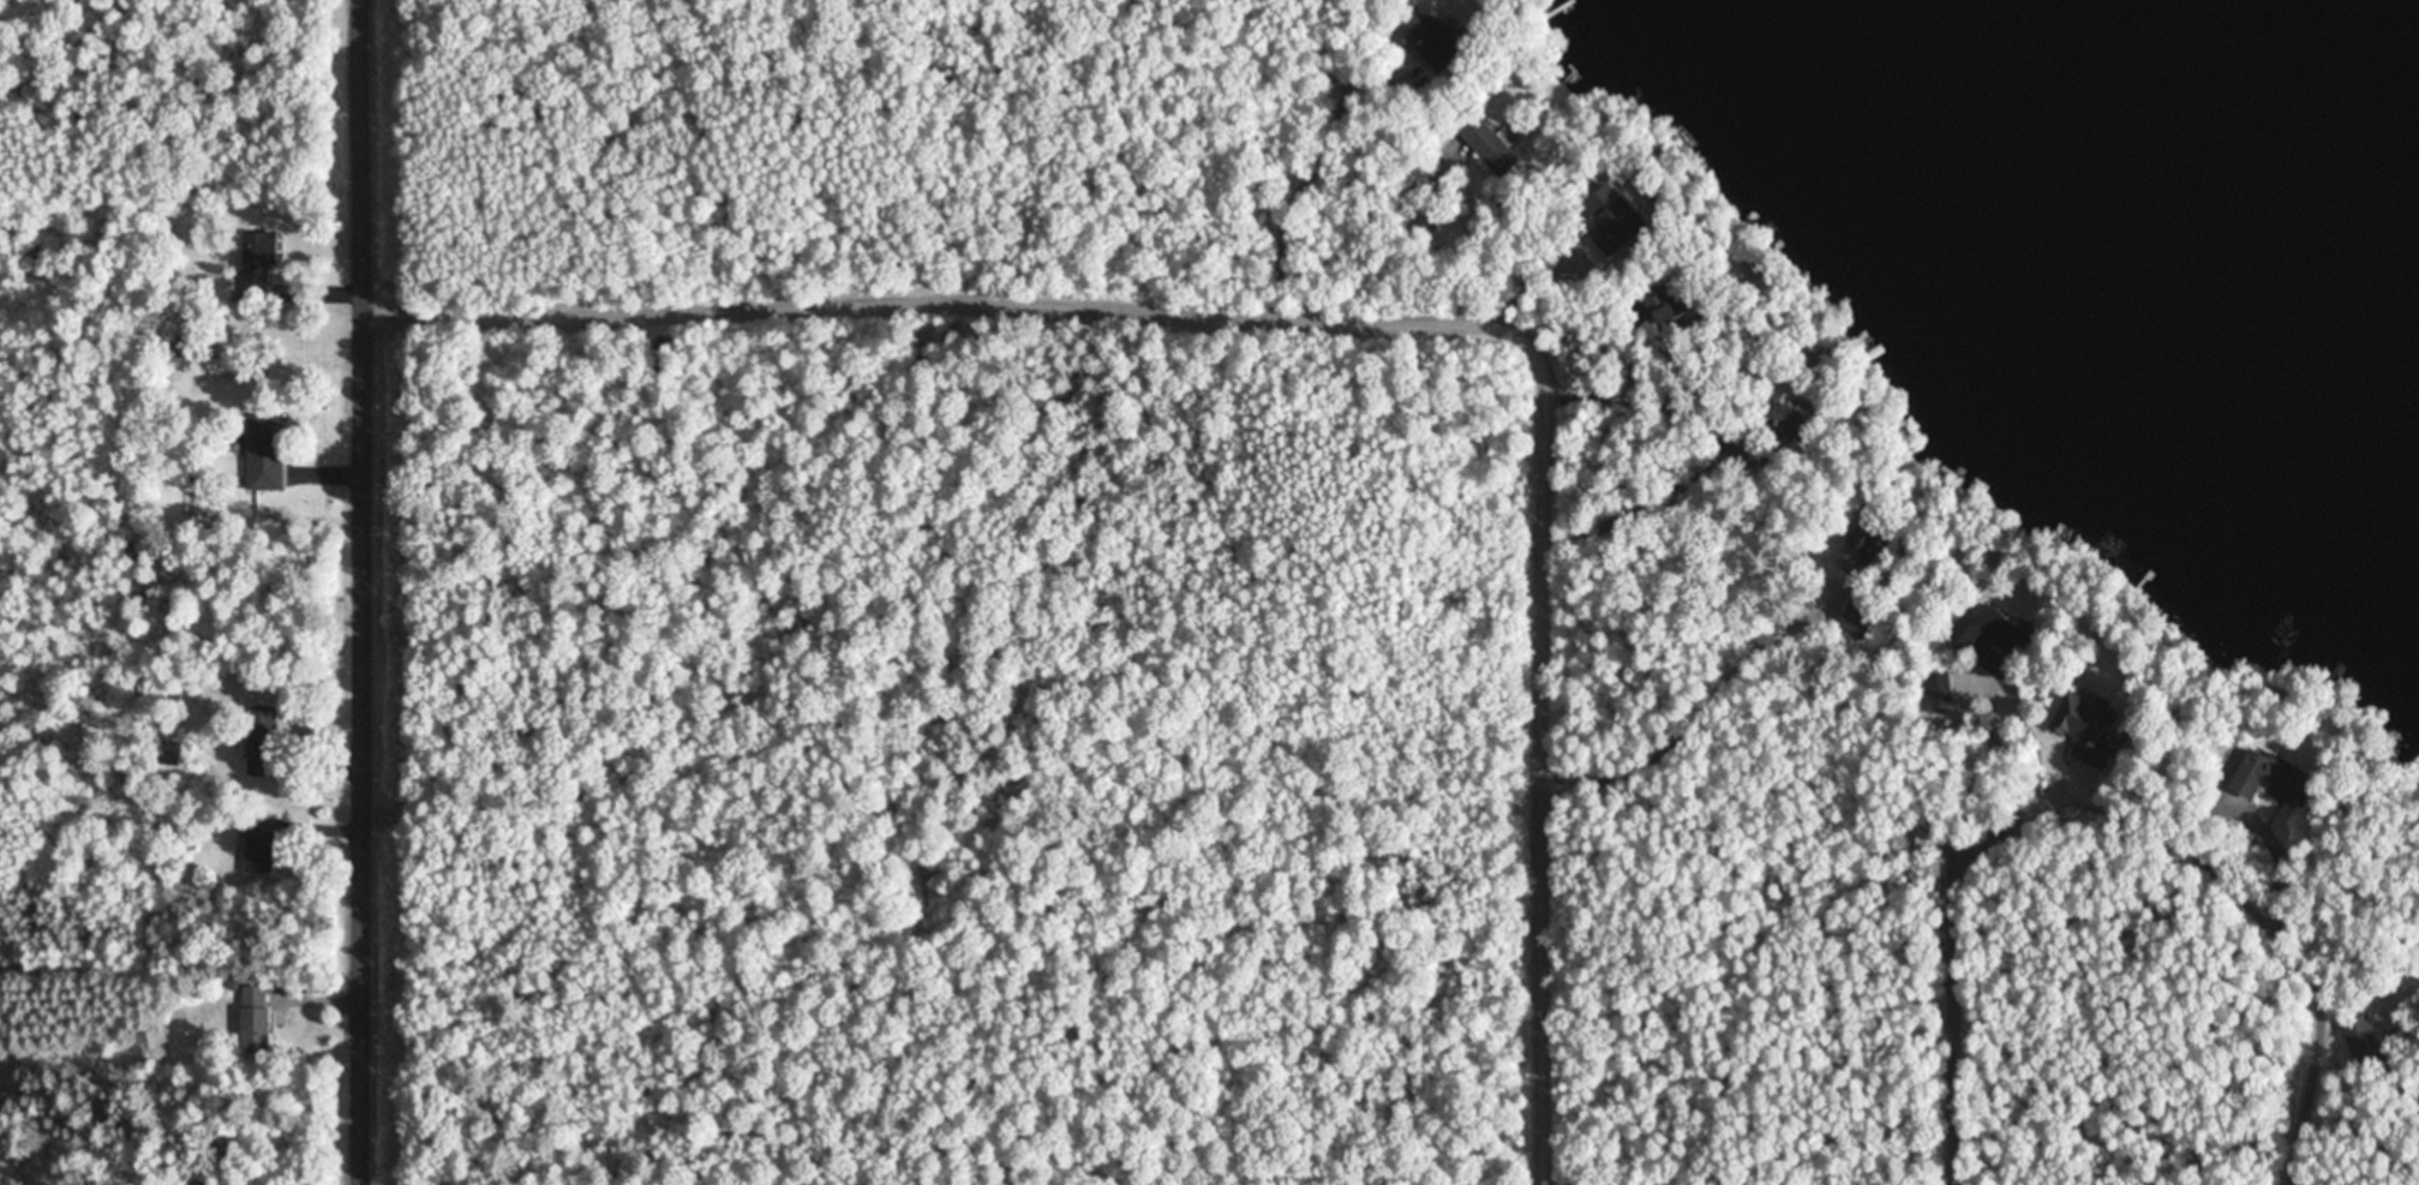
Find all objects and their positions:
building: (1426, 38)
building: (1486, 144)
building: (253, 265)
building: (1673, 310)
road: (1377, 316)
building: (1790, 423)
building: (262, 453)
building: (1852, 549)
road: (366, 592)
building: (1856, 620)
building: (1990, 638)
building: (2083, 726)
building: (259, 741)
building: (169, 753)
building: (2269, 780)
building: (257, 844)
building: (252, 1018)
building: (2360, 1041)
road: (1951, 1084)
road: (2297, 1150)

